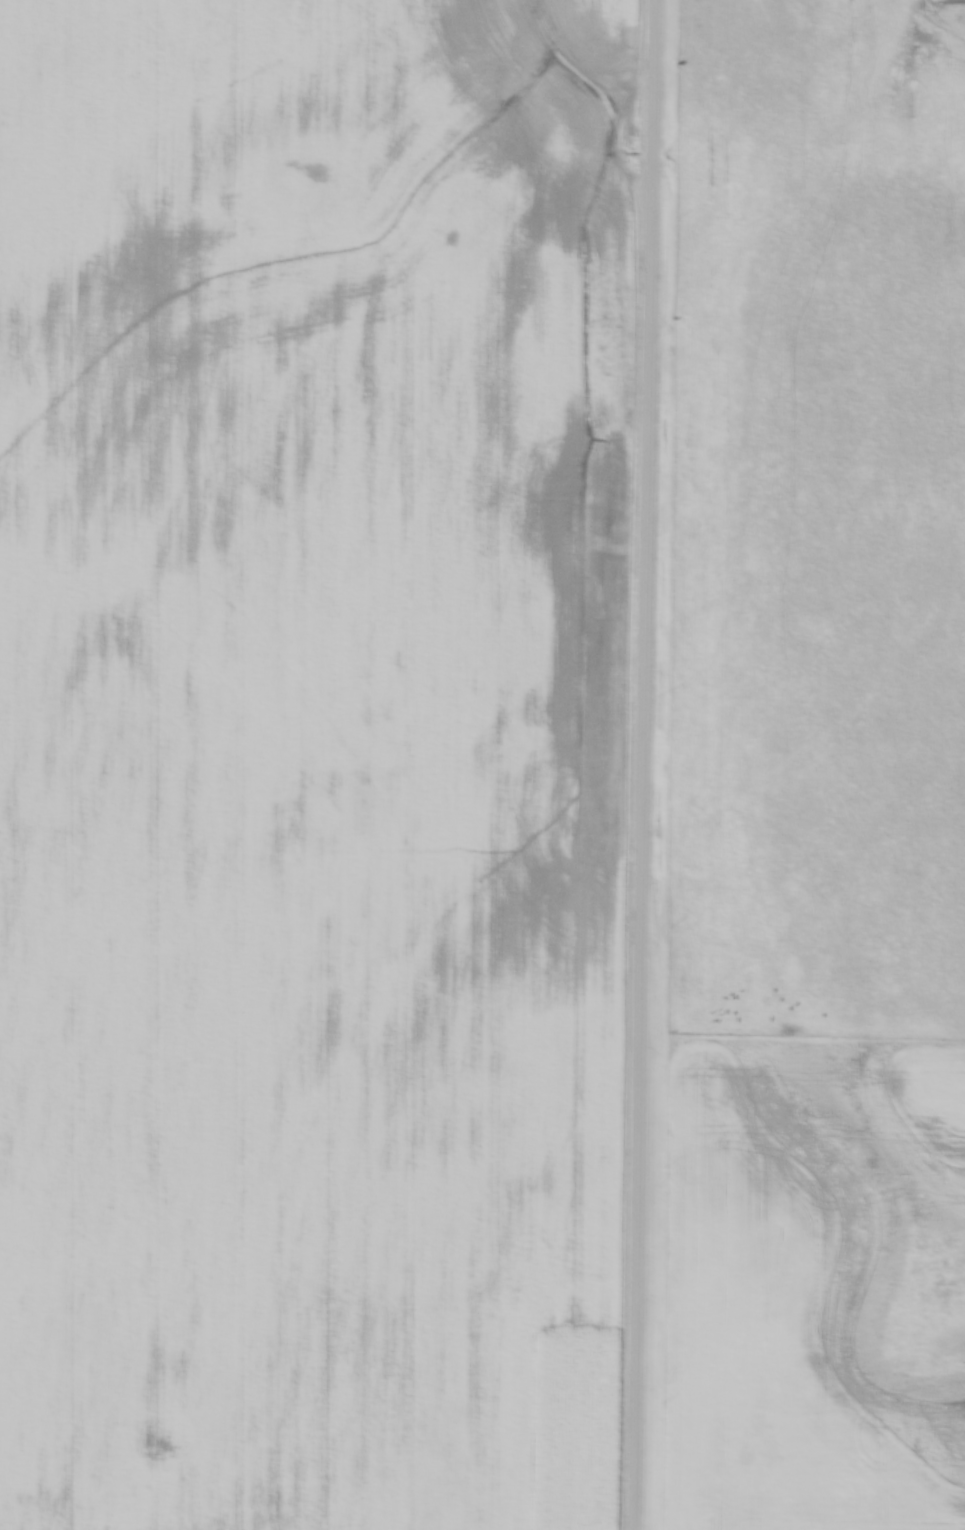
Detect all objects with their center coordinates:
road: (642, 764)

